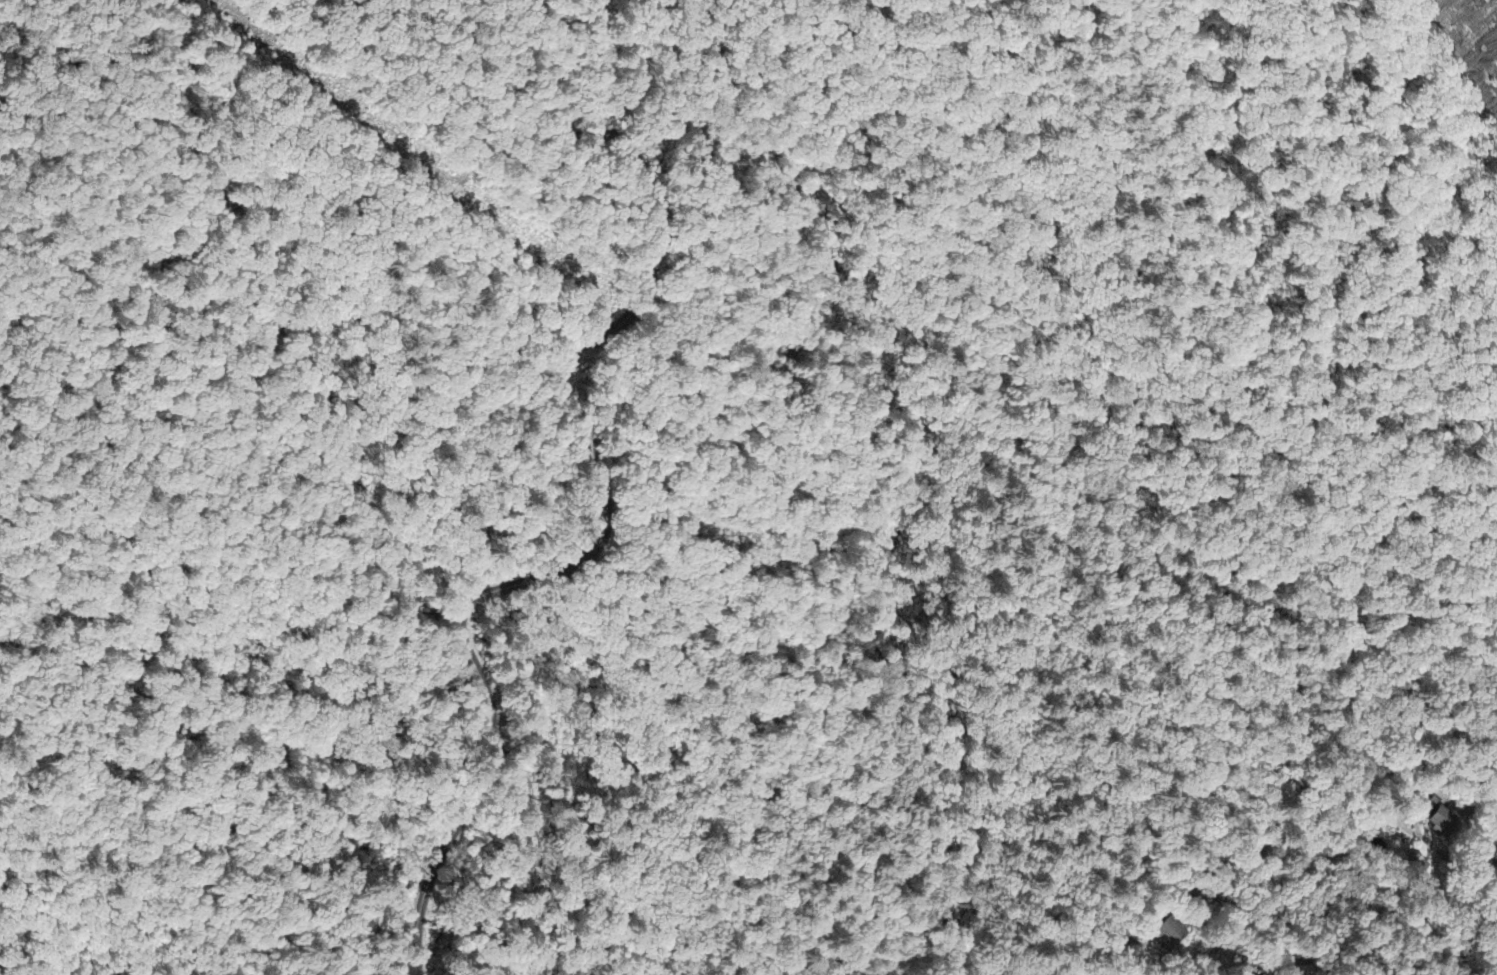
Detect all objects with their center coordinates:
road: (606, 501)
building: (1440, 822)
building: (1167, 936)
building: (1243, 974)

